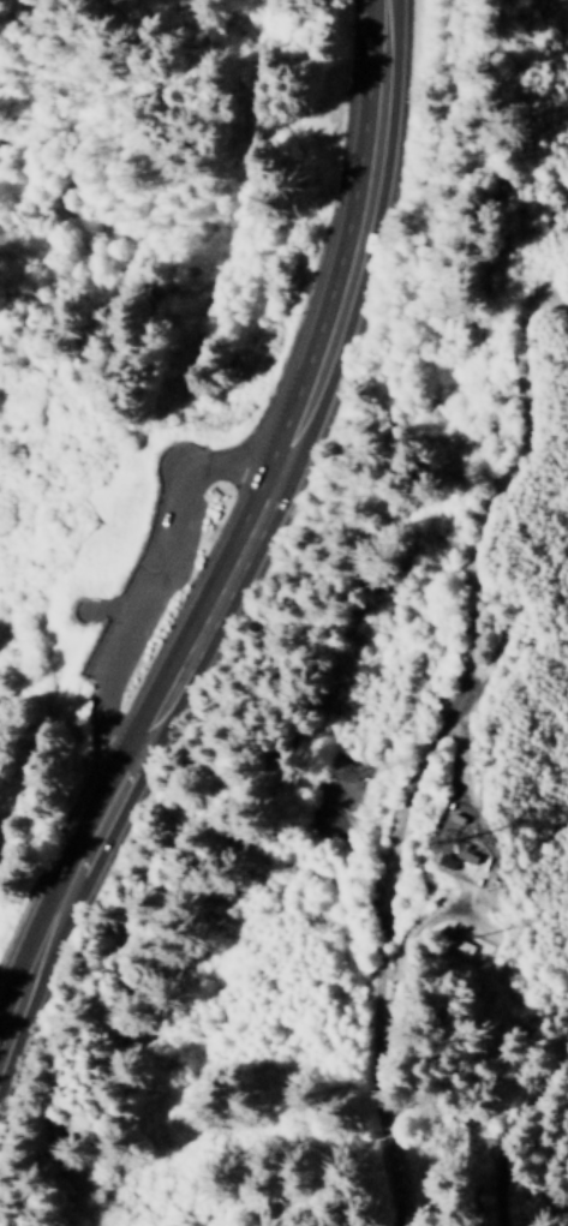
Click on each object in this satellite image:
road: (244, 486)
parking lot: (149, 574)
road: (142, 588)
building: (438, 951)
road: (7, 956)
road: (385, 1159)

